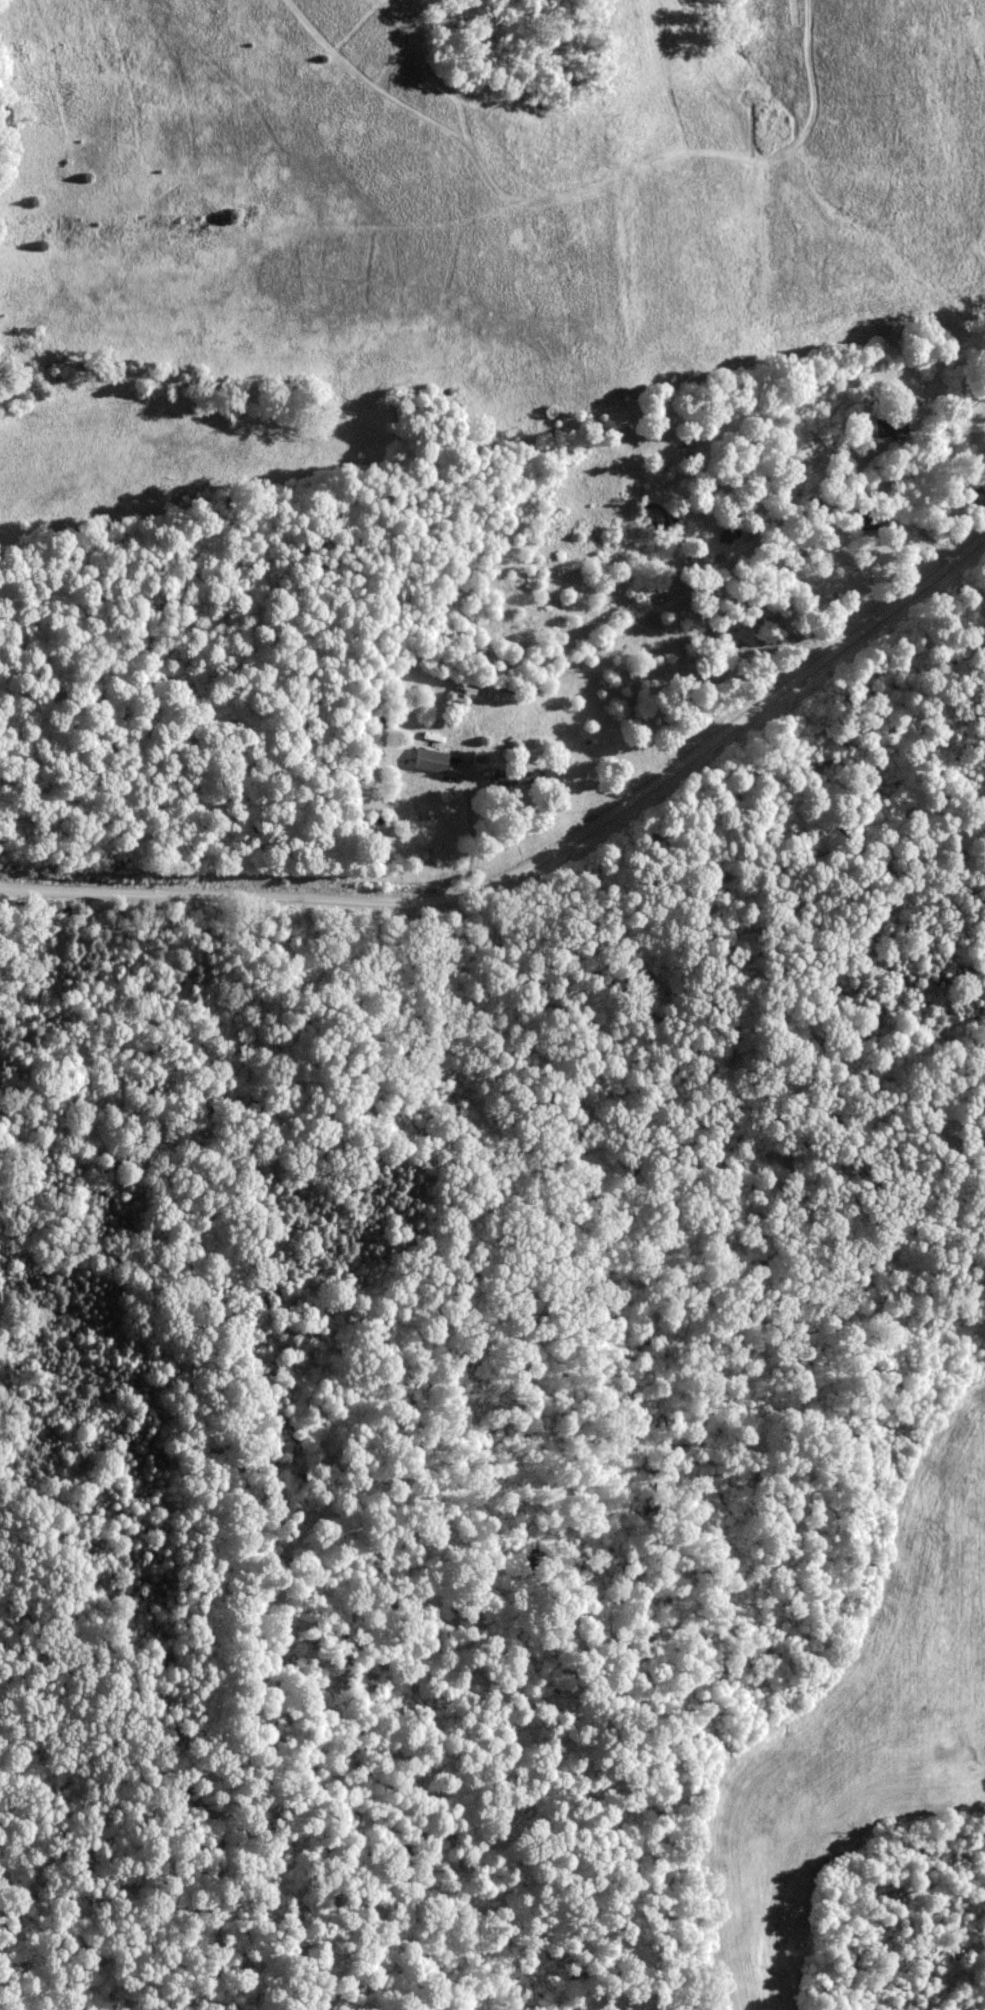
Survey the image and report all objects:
building: (887, 427)
building: (430, 761)
road: (544, 878)

